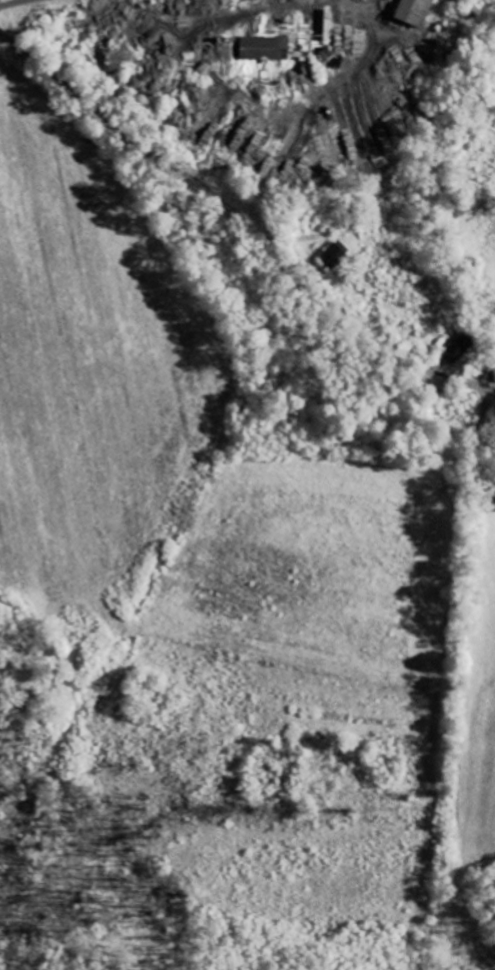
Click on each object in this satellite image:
road: (7, 1)
building: (416, 12)
building: (266, 49)
road: (243, 224)
building: (335, 254)
building: (459, 350)

